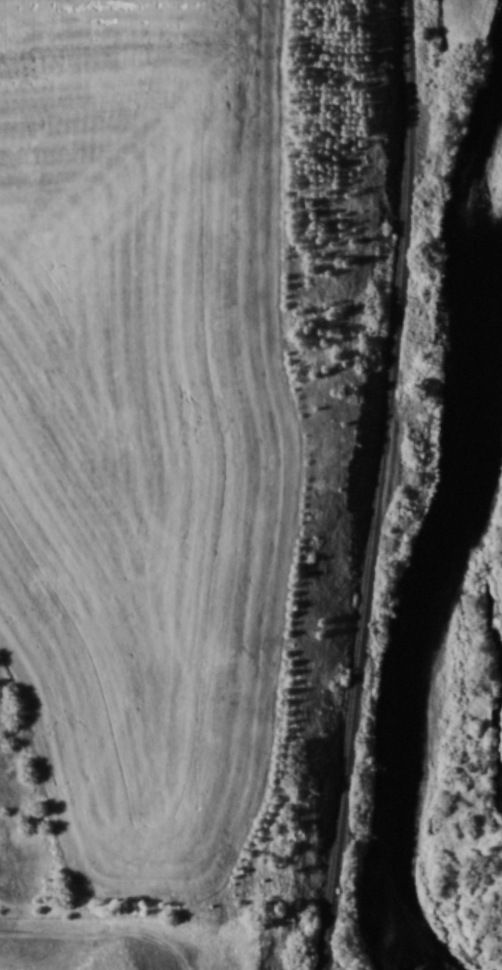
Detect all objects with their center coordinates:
railway: (374, 485)
river: (453, 531)
road: (100, 930)

